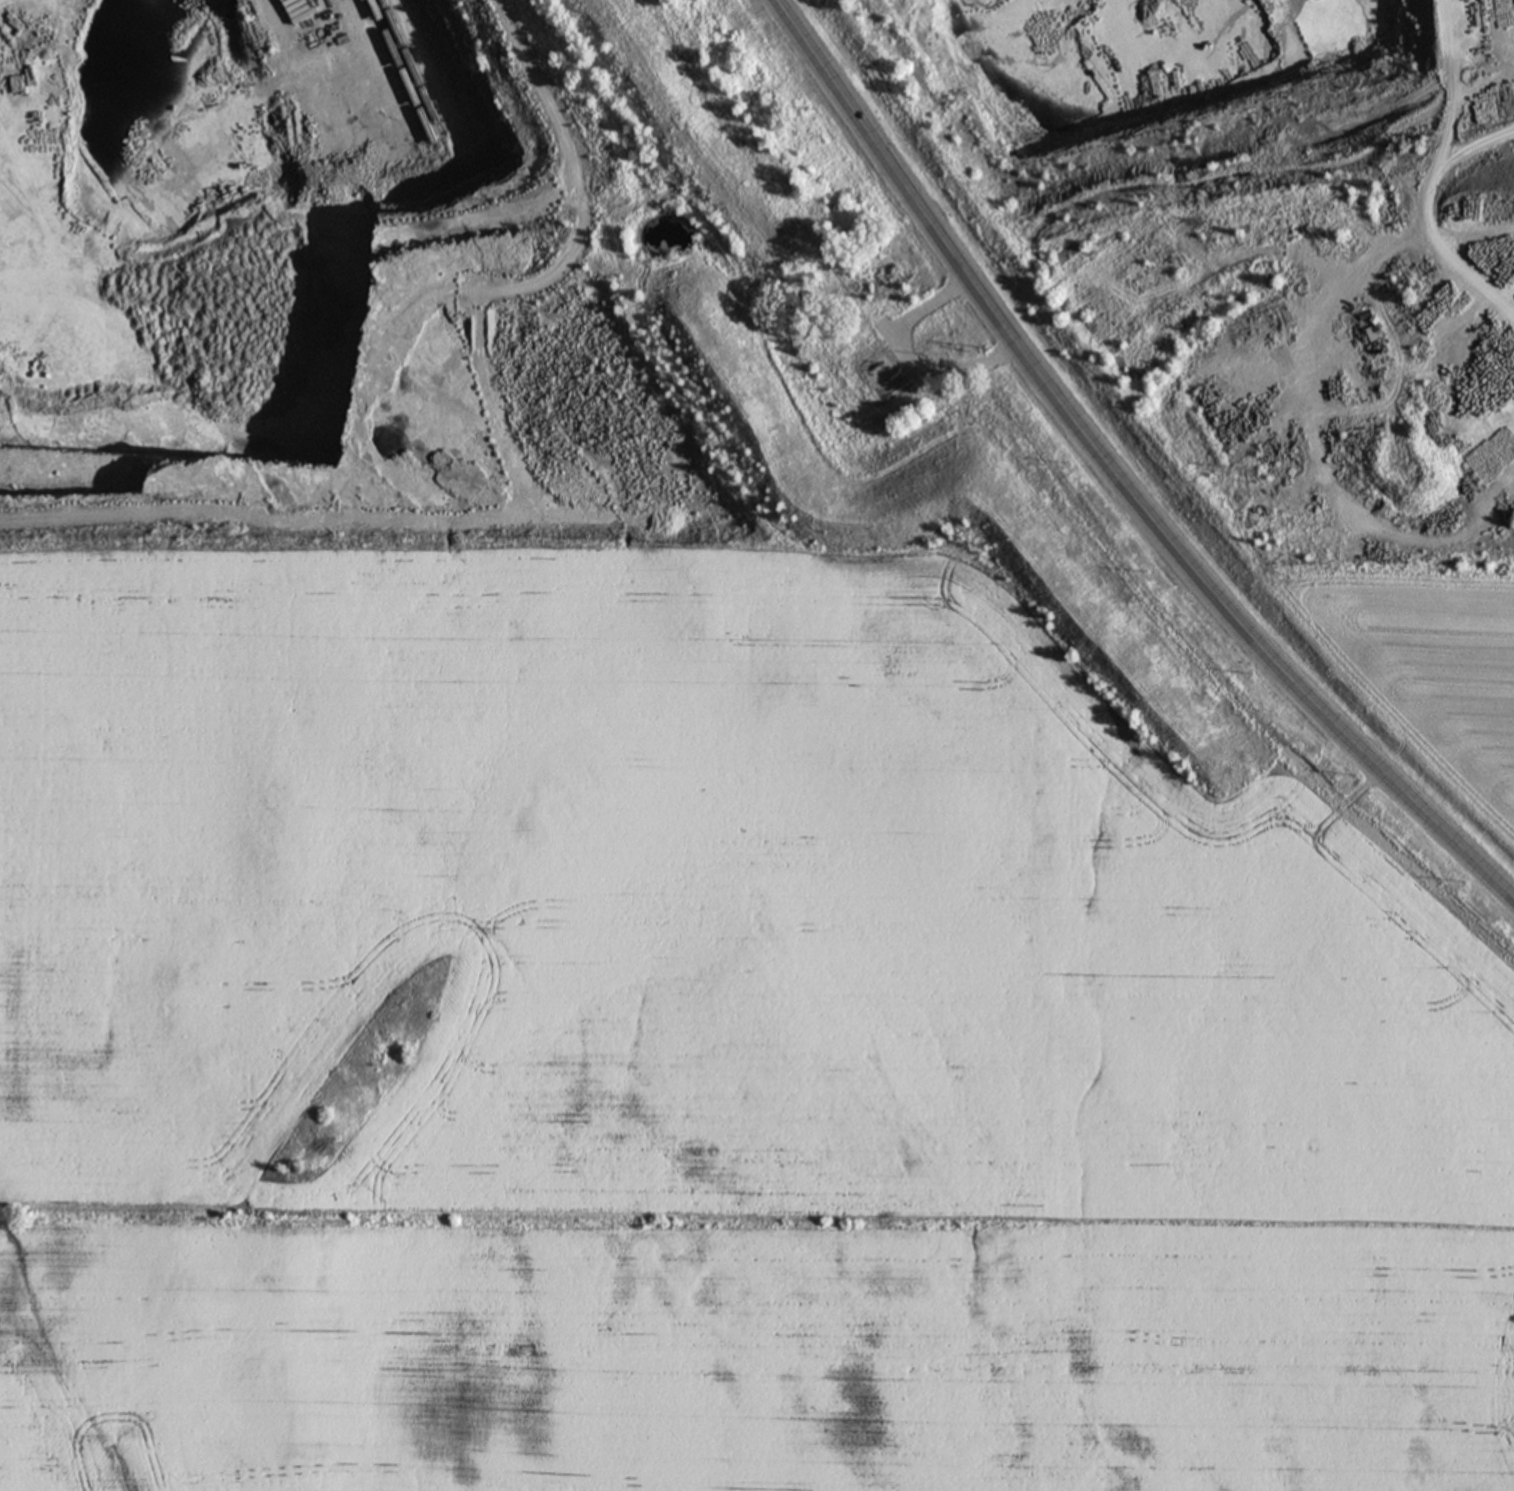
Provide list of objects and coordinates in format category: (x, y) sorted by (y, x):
quarry: (1268, 241)
quarry: (399, 244)
quarry: (337, 266)
building: (885, 325)
road: (906, 363)
building: (875, 370)
road: (1113, 474)

